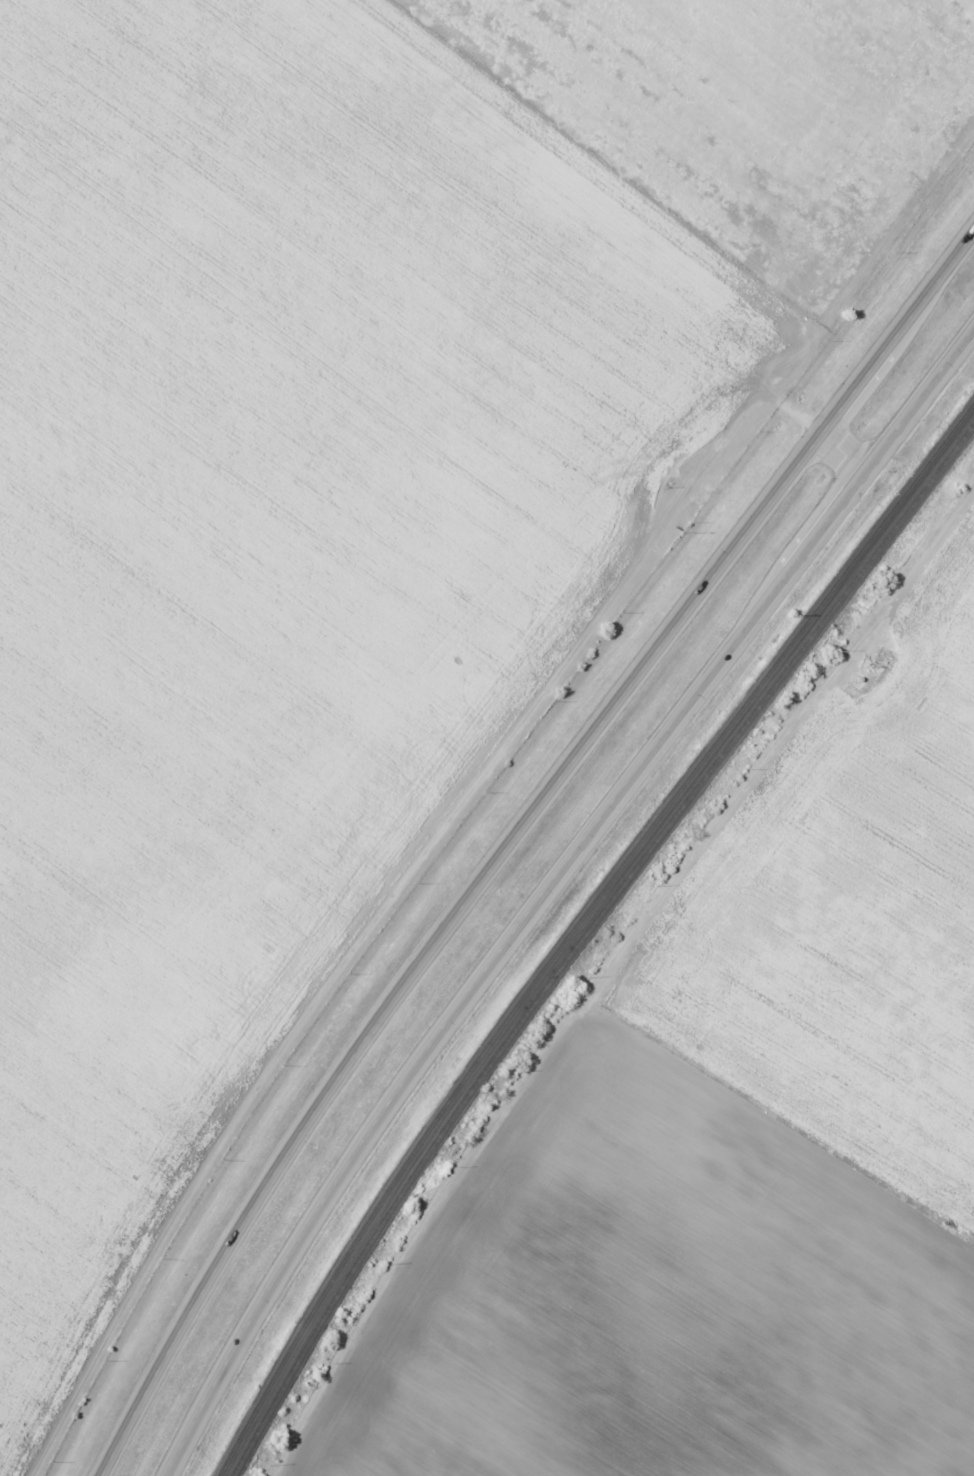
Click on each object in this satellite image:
road: (845, 451)
road: (511, 837)
road: (550, 885)
railway: (582, 937)

